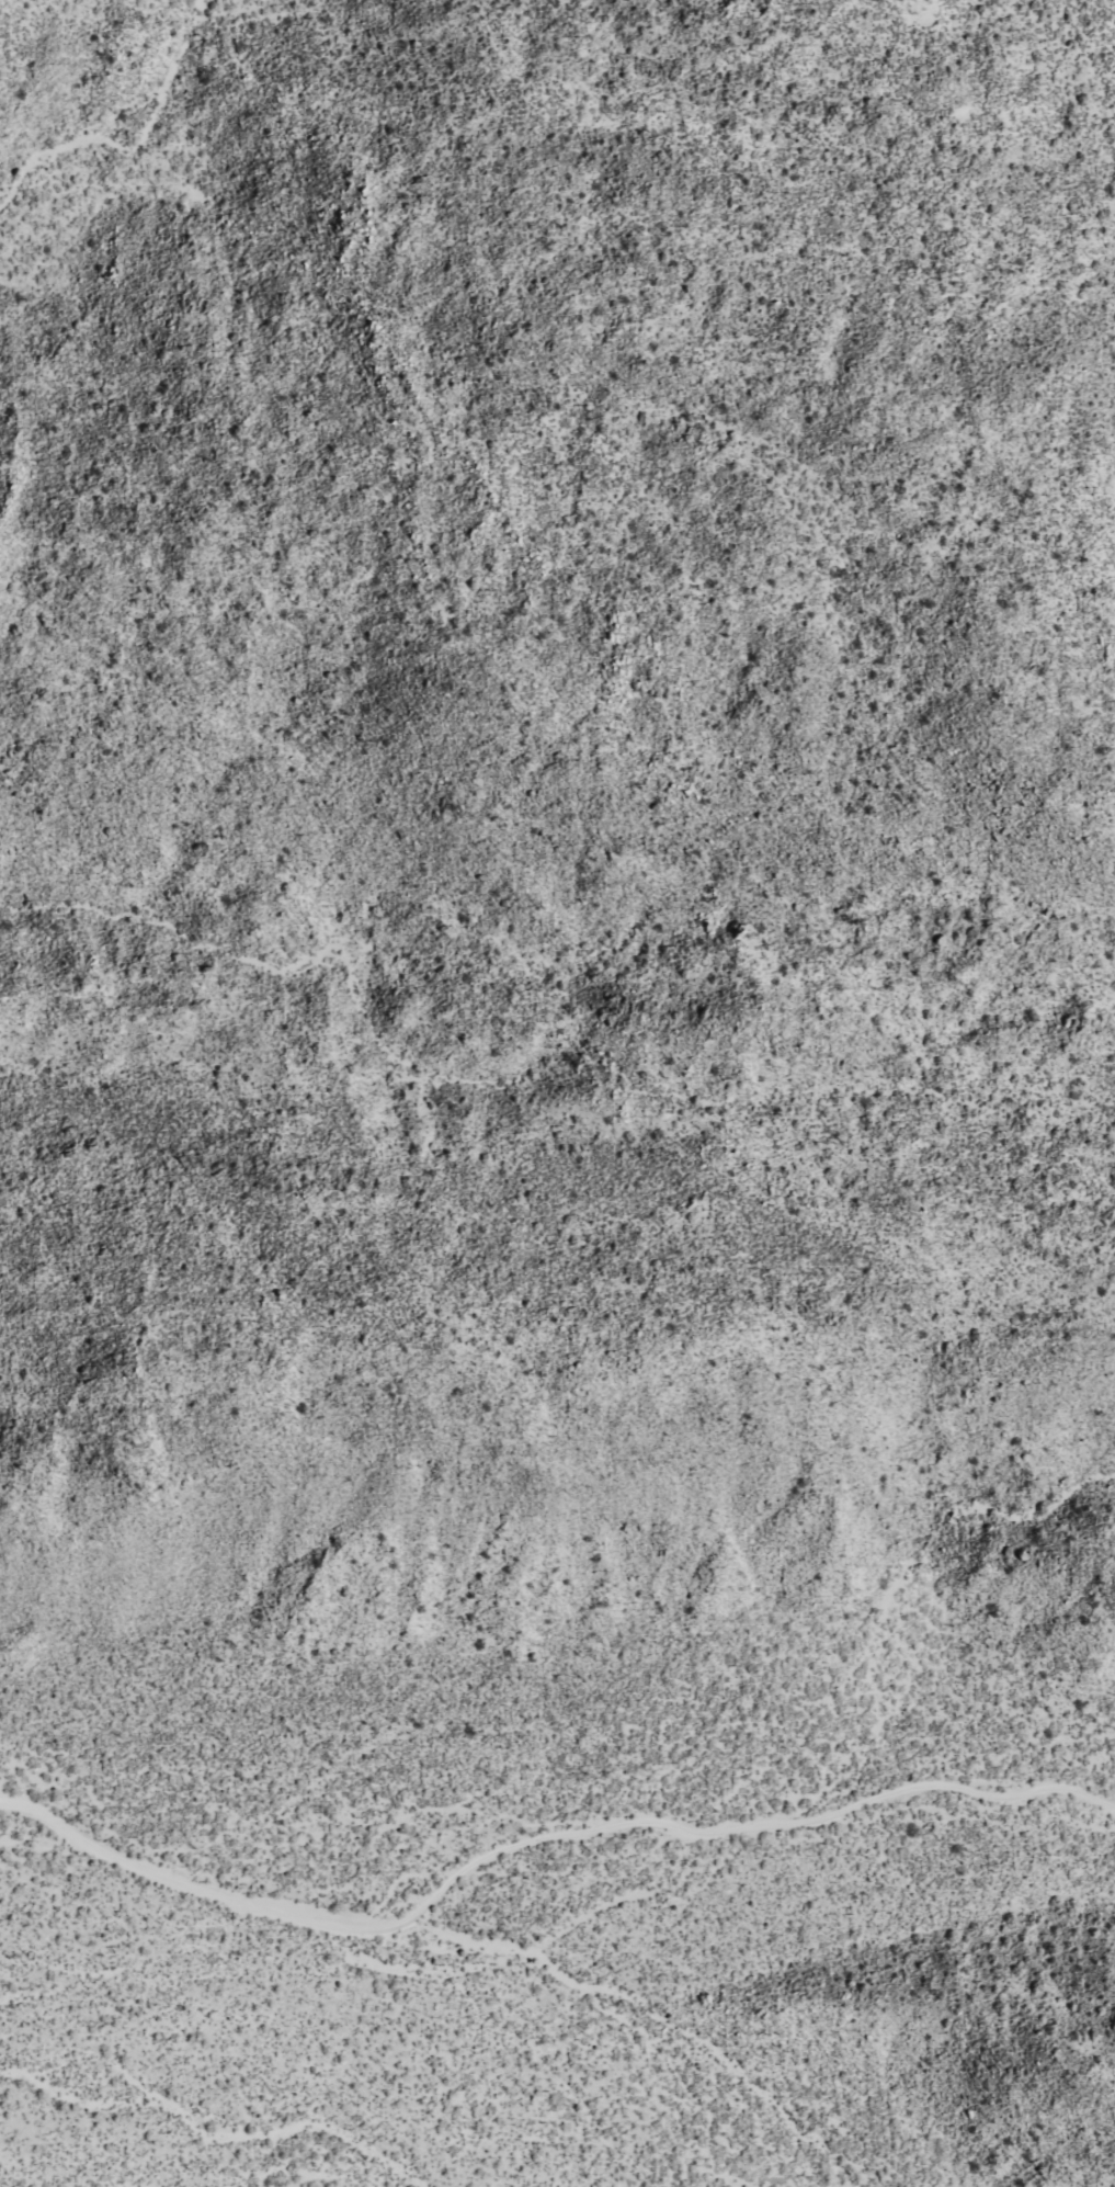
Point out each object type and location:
road: (538, 1836)

